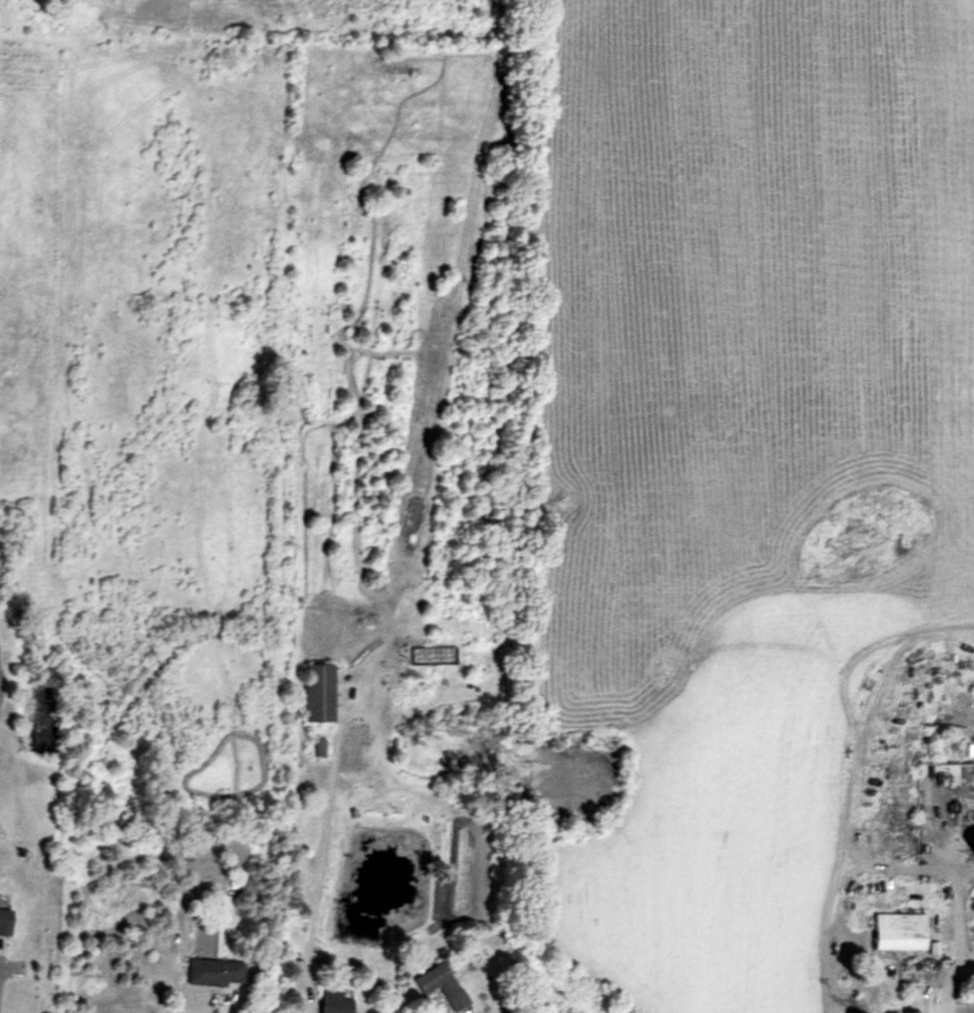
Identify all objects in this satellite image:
building: (321, 690)
building: (319, 745)
road: (952, 914)
building: (6, 919)
building: (902, 929)
building: (216, 969)
road: (947, 982)
building: (443, 983)
building: (338, 1001)
road: (316, 1011)

